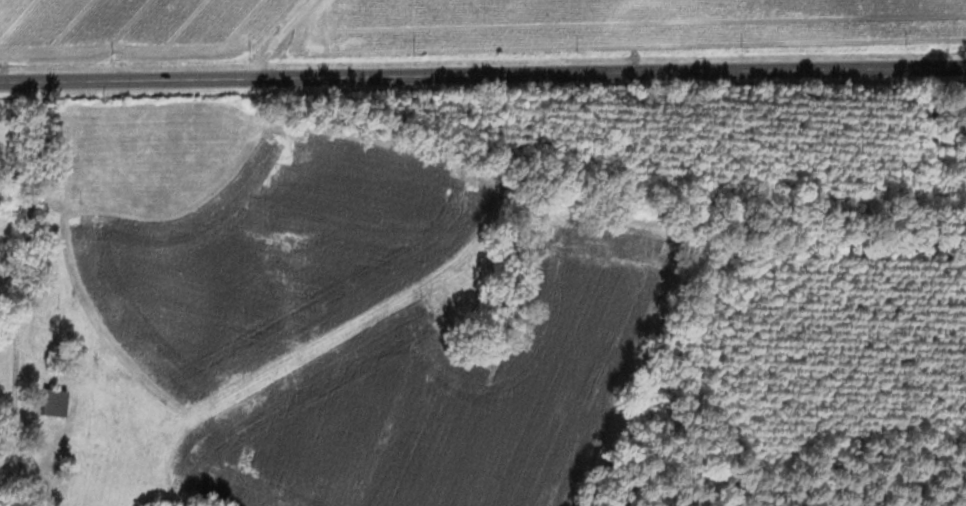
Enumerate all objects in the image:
road: (276, 39)
road: (883, 62)
road: (400, 74)
building: (215, 147)
road: (17, 220)
building: (48, 402)
road: (12, 489)

